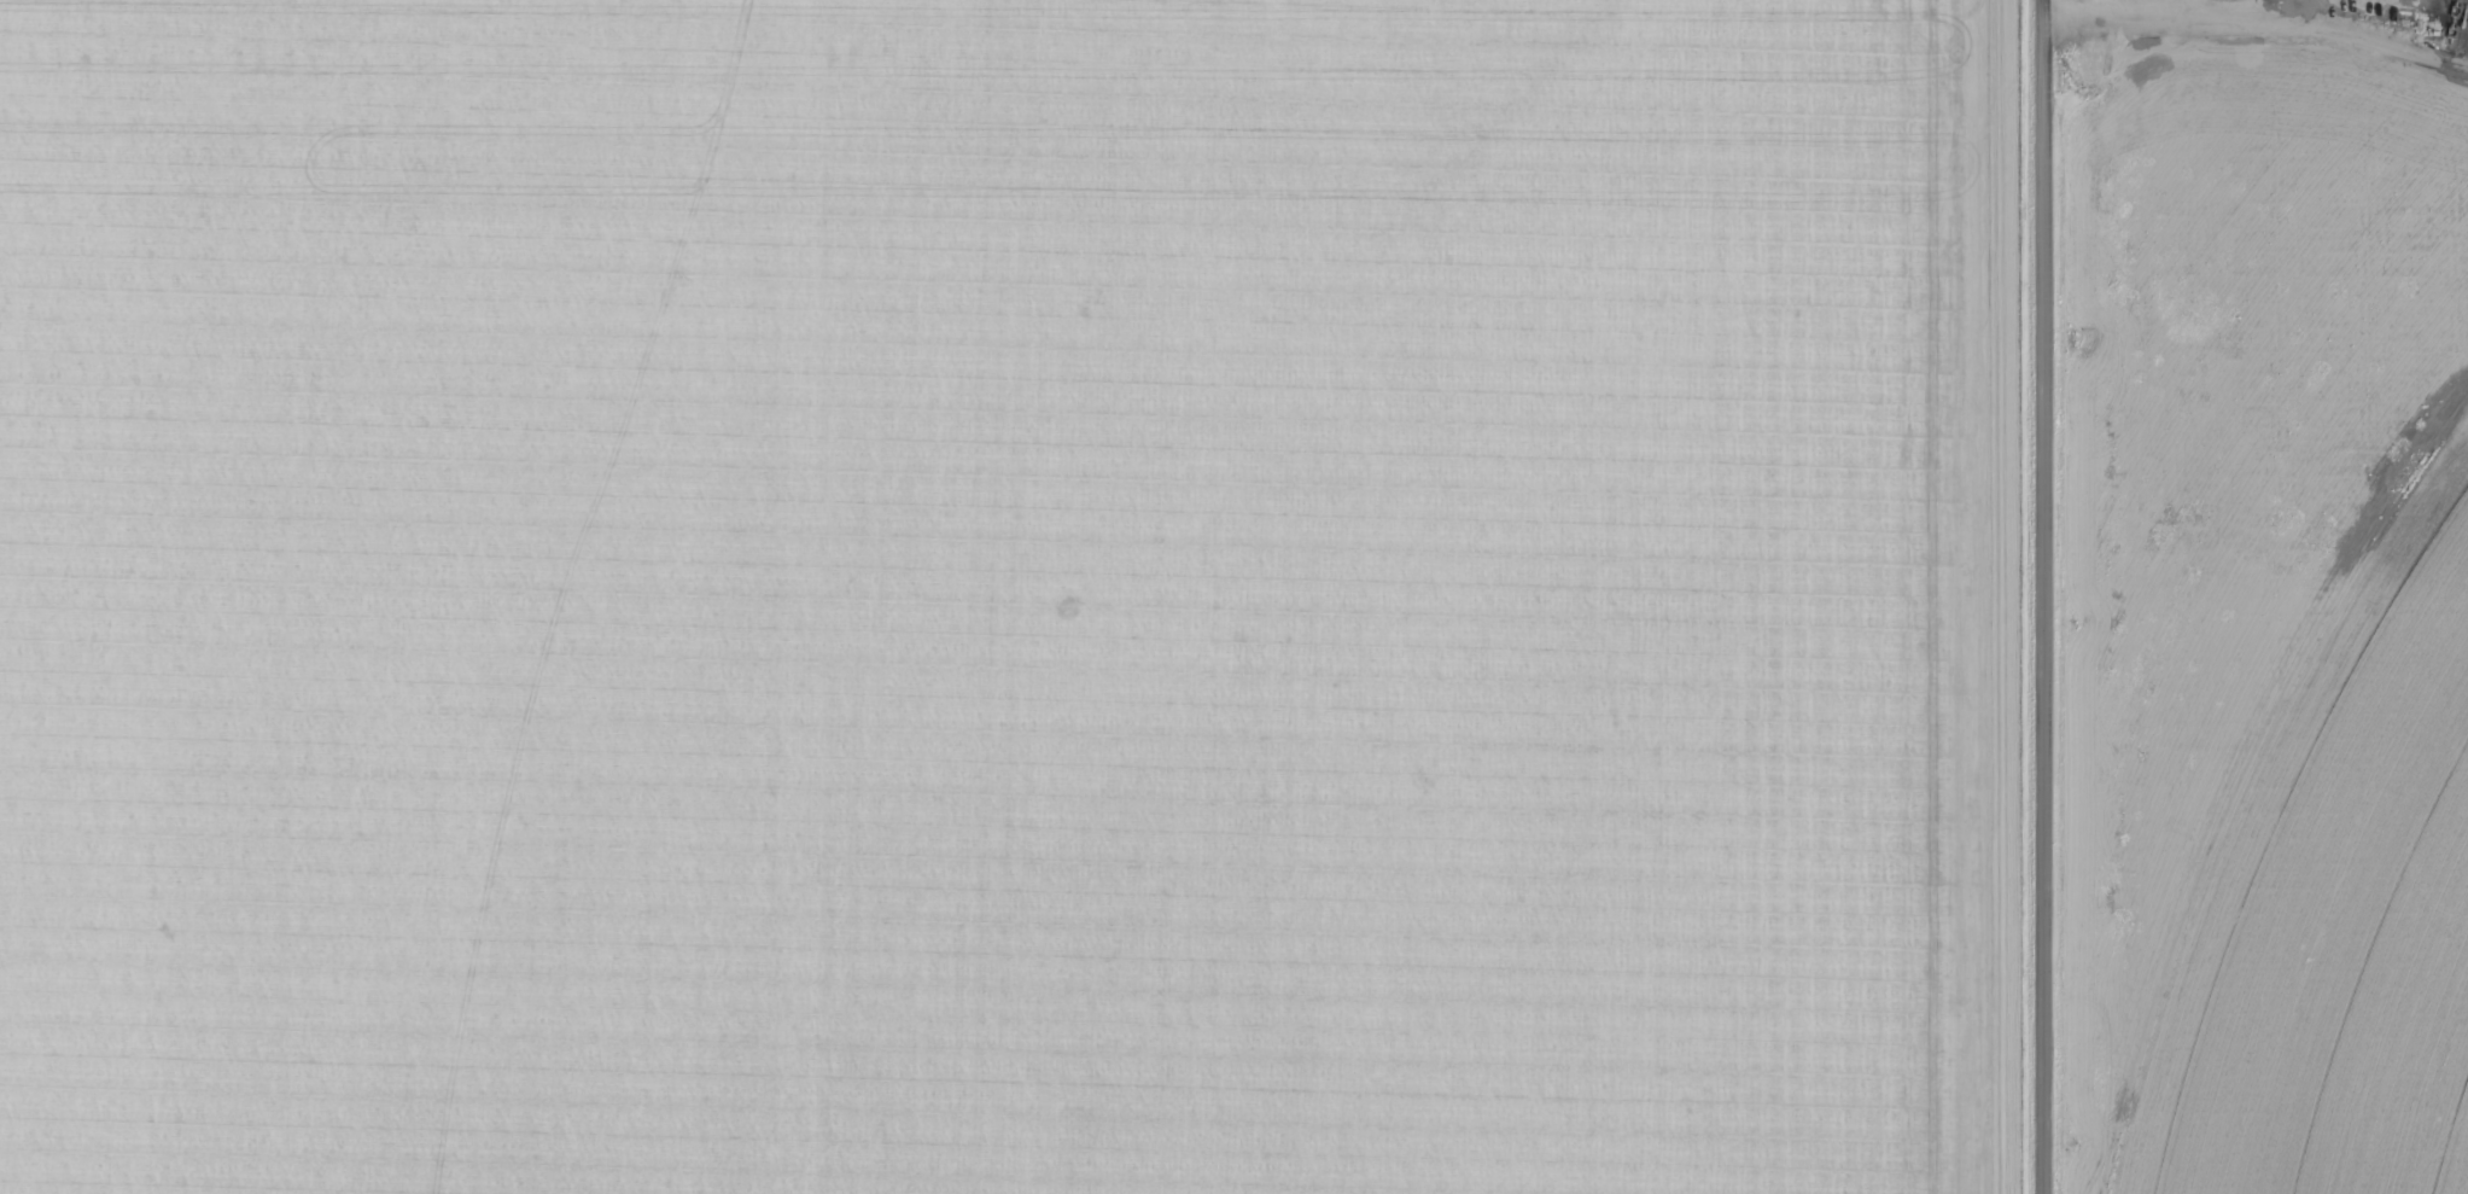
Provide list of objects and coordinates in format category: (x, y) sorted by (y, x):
road: (2047, 596)

